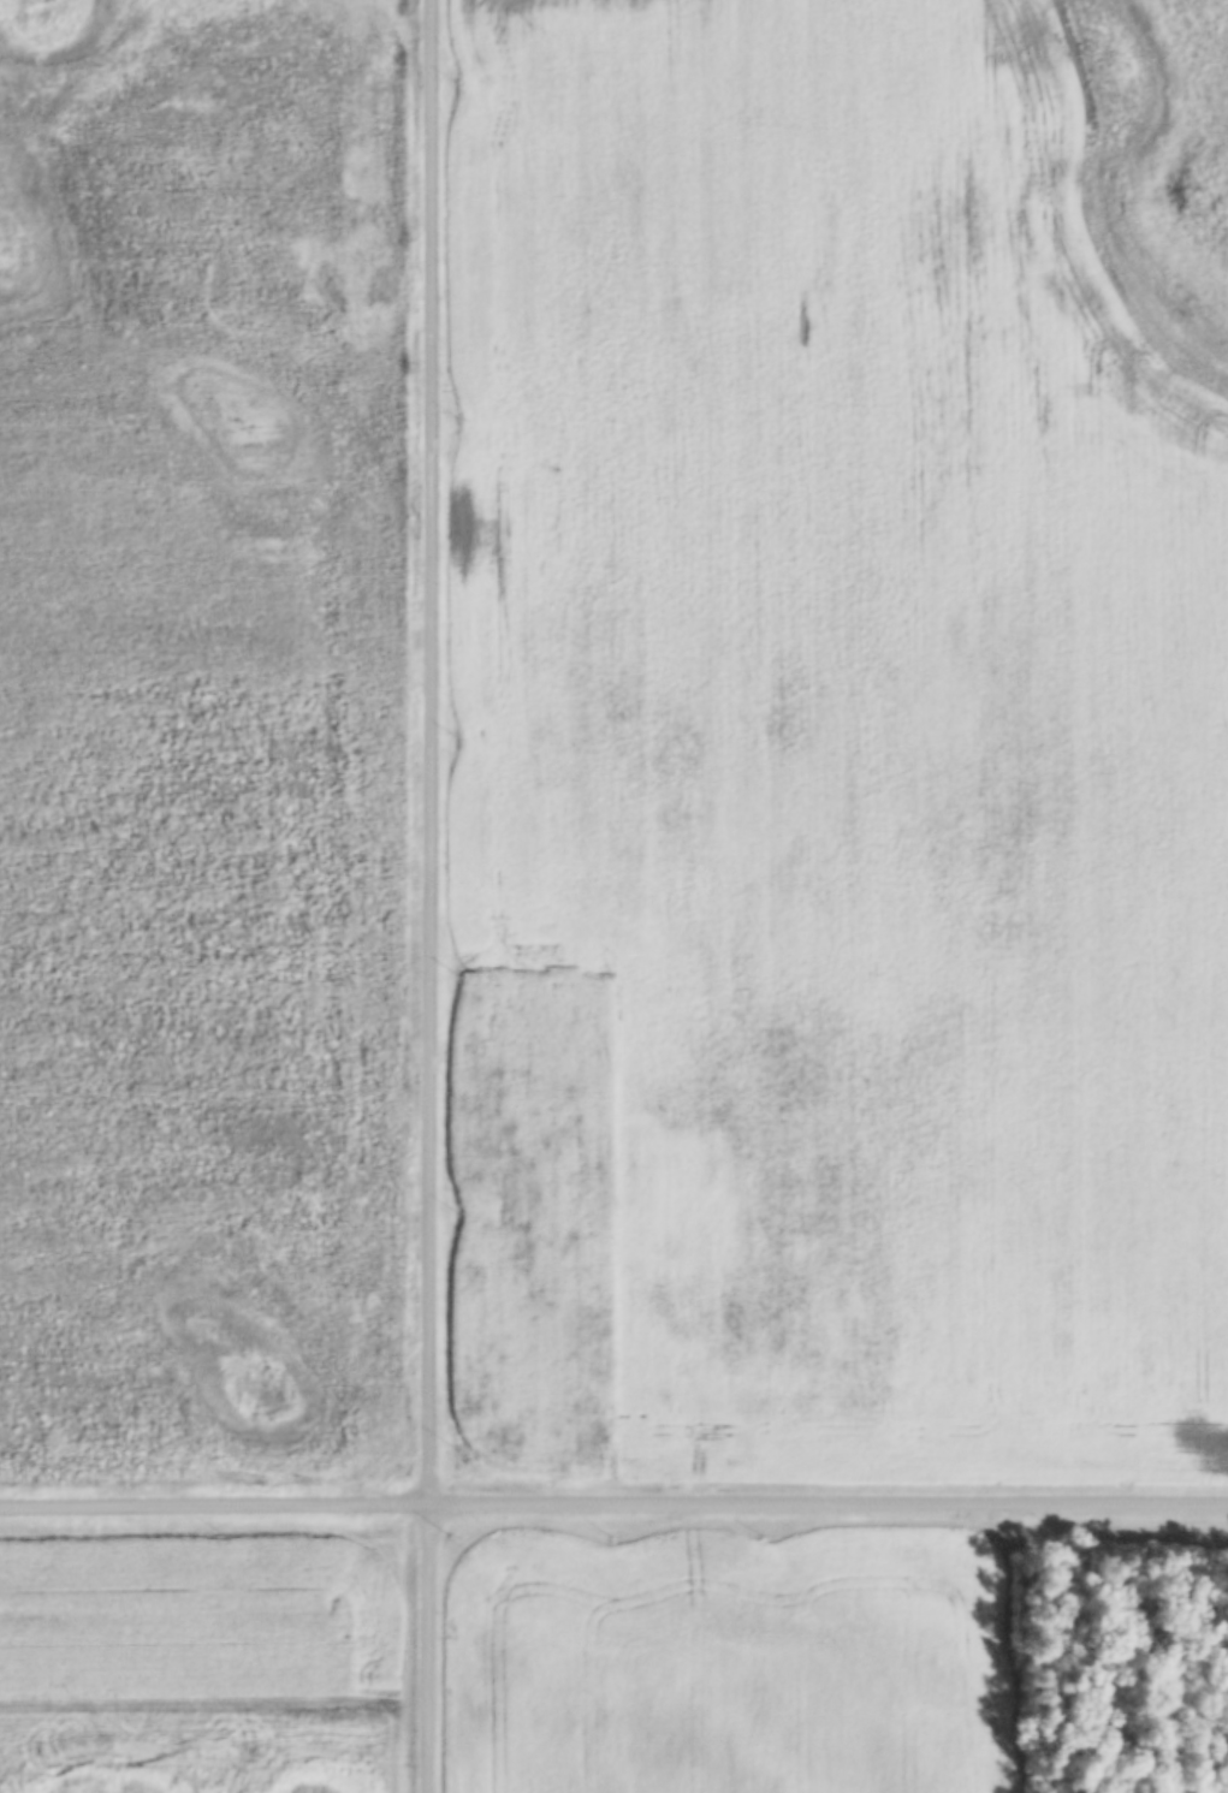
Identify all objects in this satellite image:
road: (432, 754)
road: (613, 1508)
road: (429, 1650)

